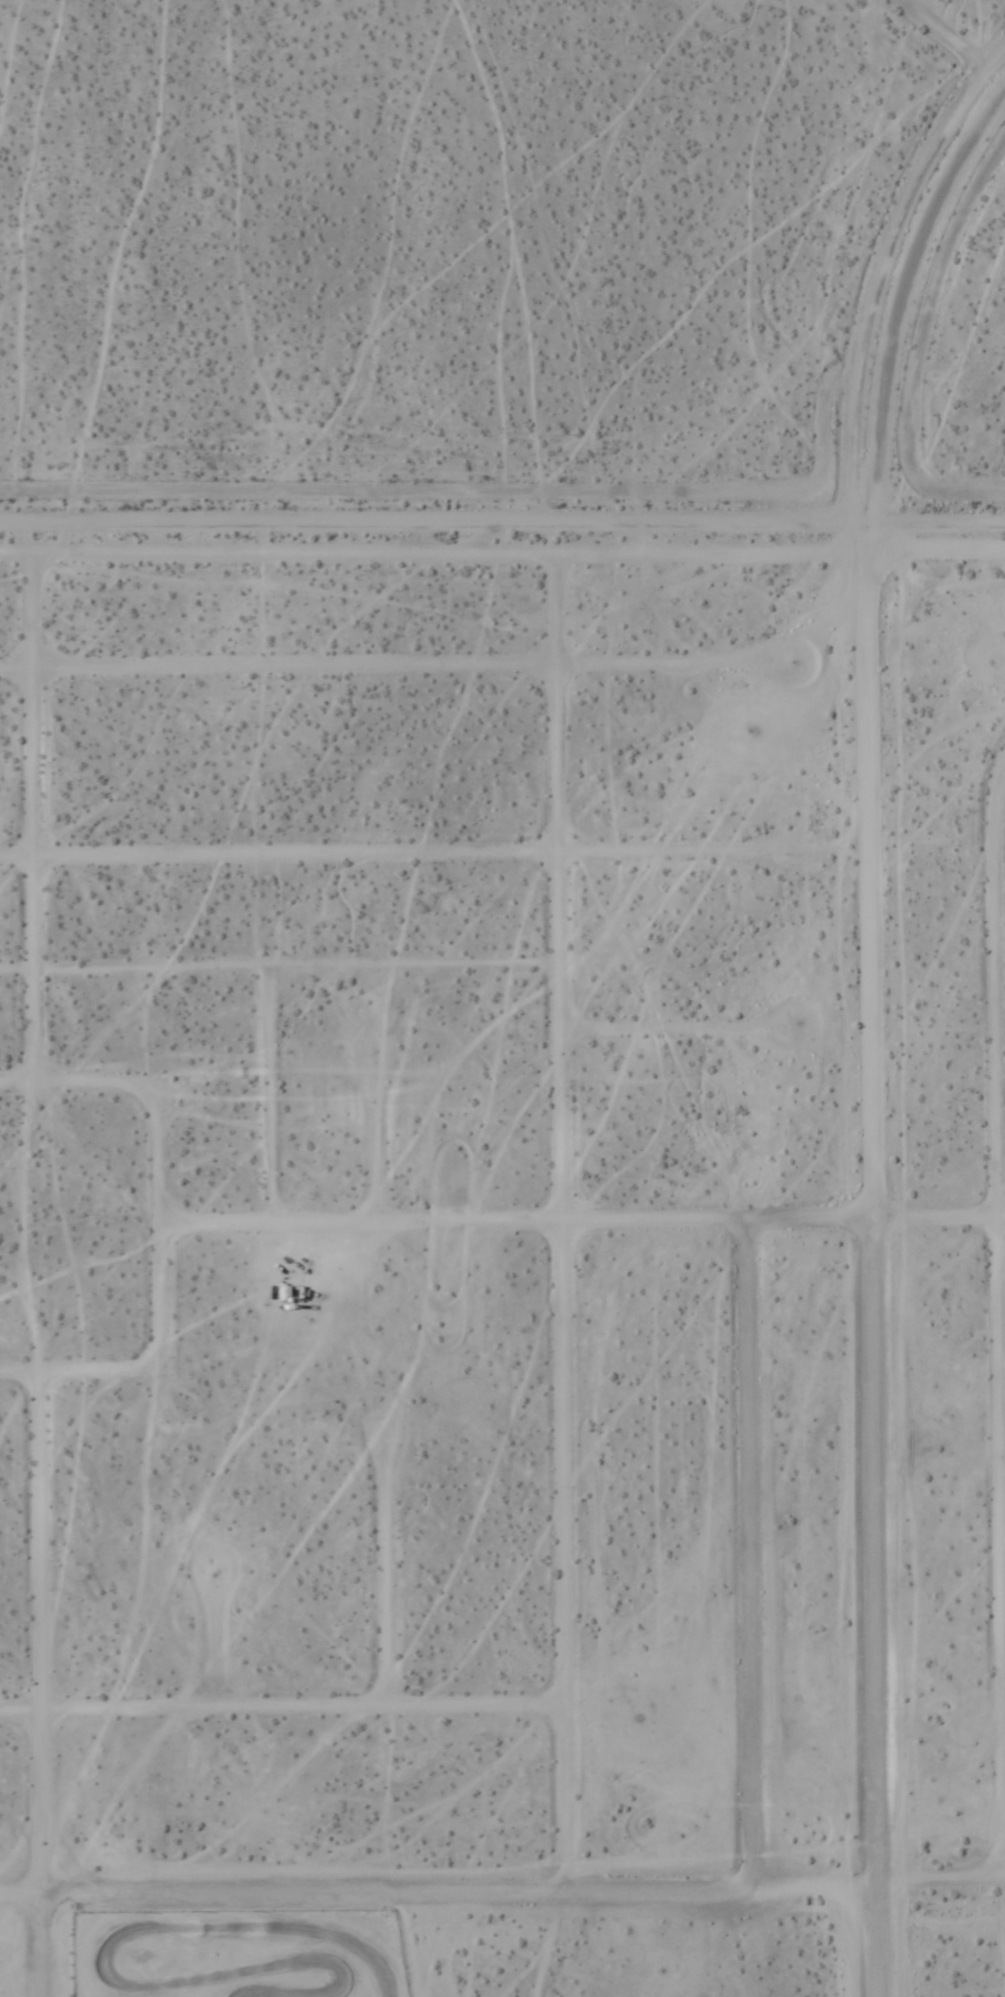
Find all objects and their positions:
road: (948, 34)
road: (502, 518)
road: (502, 551)
road: (392, 671)
road: (32, 821)
road: (391, 860)
road: (679, 1036)
road: (1000, 1037)
road: (376, 1140)
road: (563, 1208)
crop: (517, 1220)
road: (581, 1226)
road: (159, 1234)
road: (873, 1256)
road: (998, 1320)
road: (1003, 1490)
road: (750, 1561)
road: (382, 1575)
road: (216, 1647)
road: (40, 1686)
road: (1004, 1694)
road: (281, 1712)
road: (942, 1886)
road: (440, 1898)
raceway: (248, 1900)

